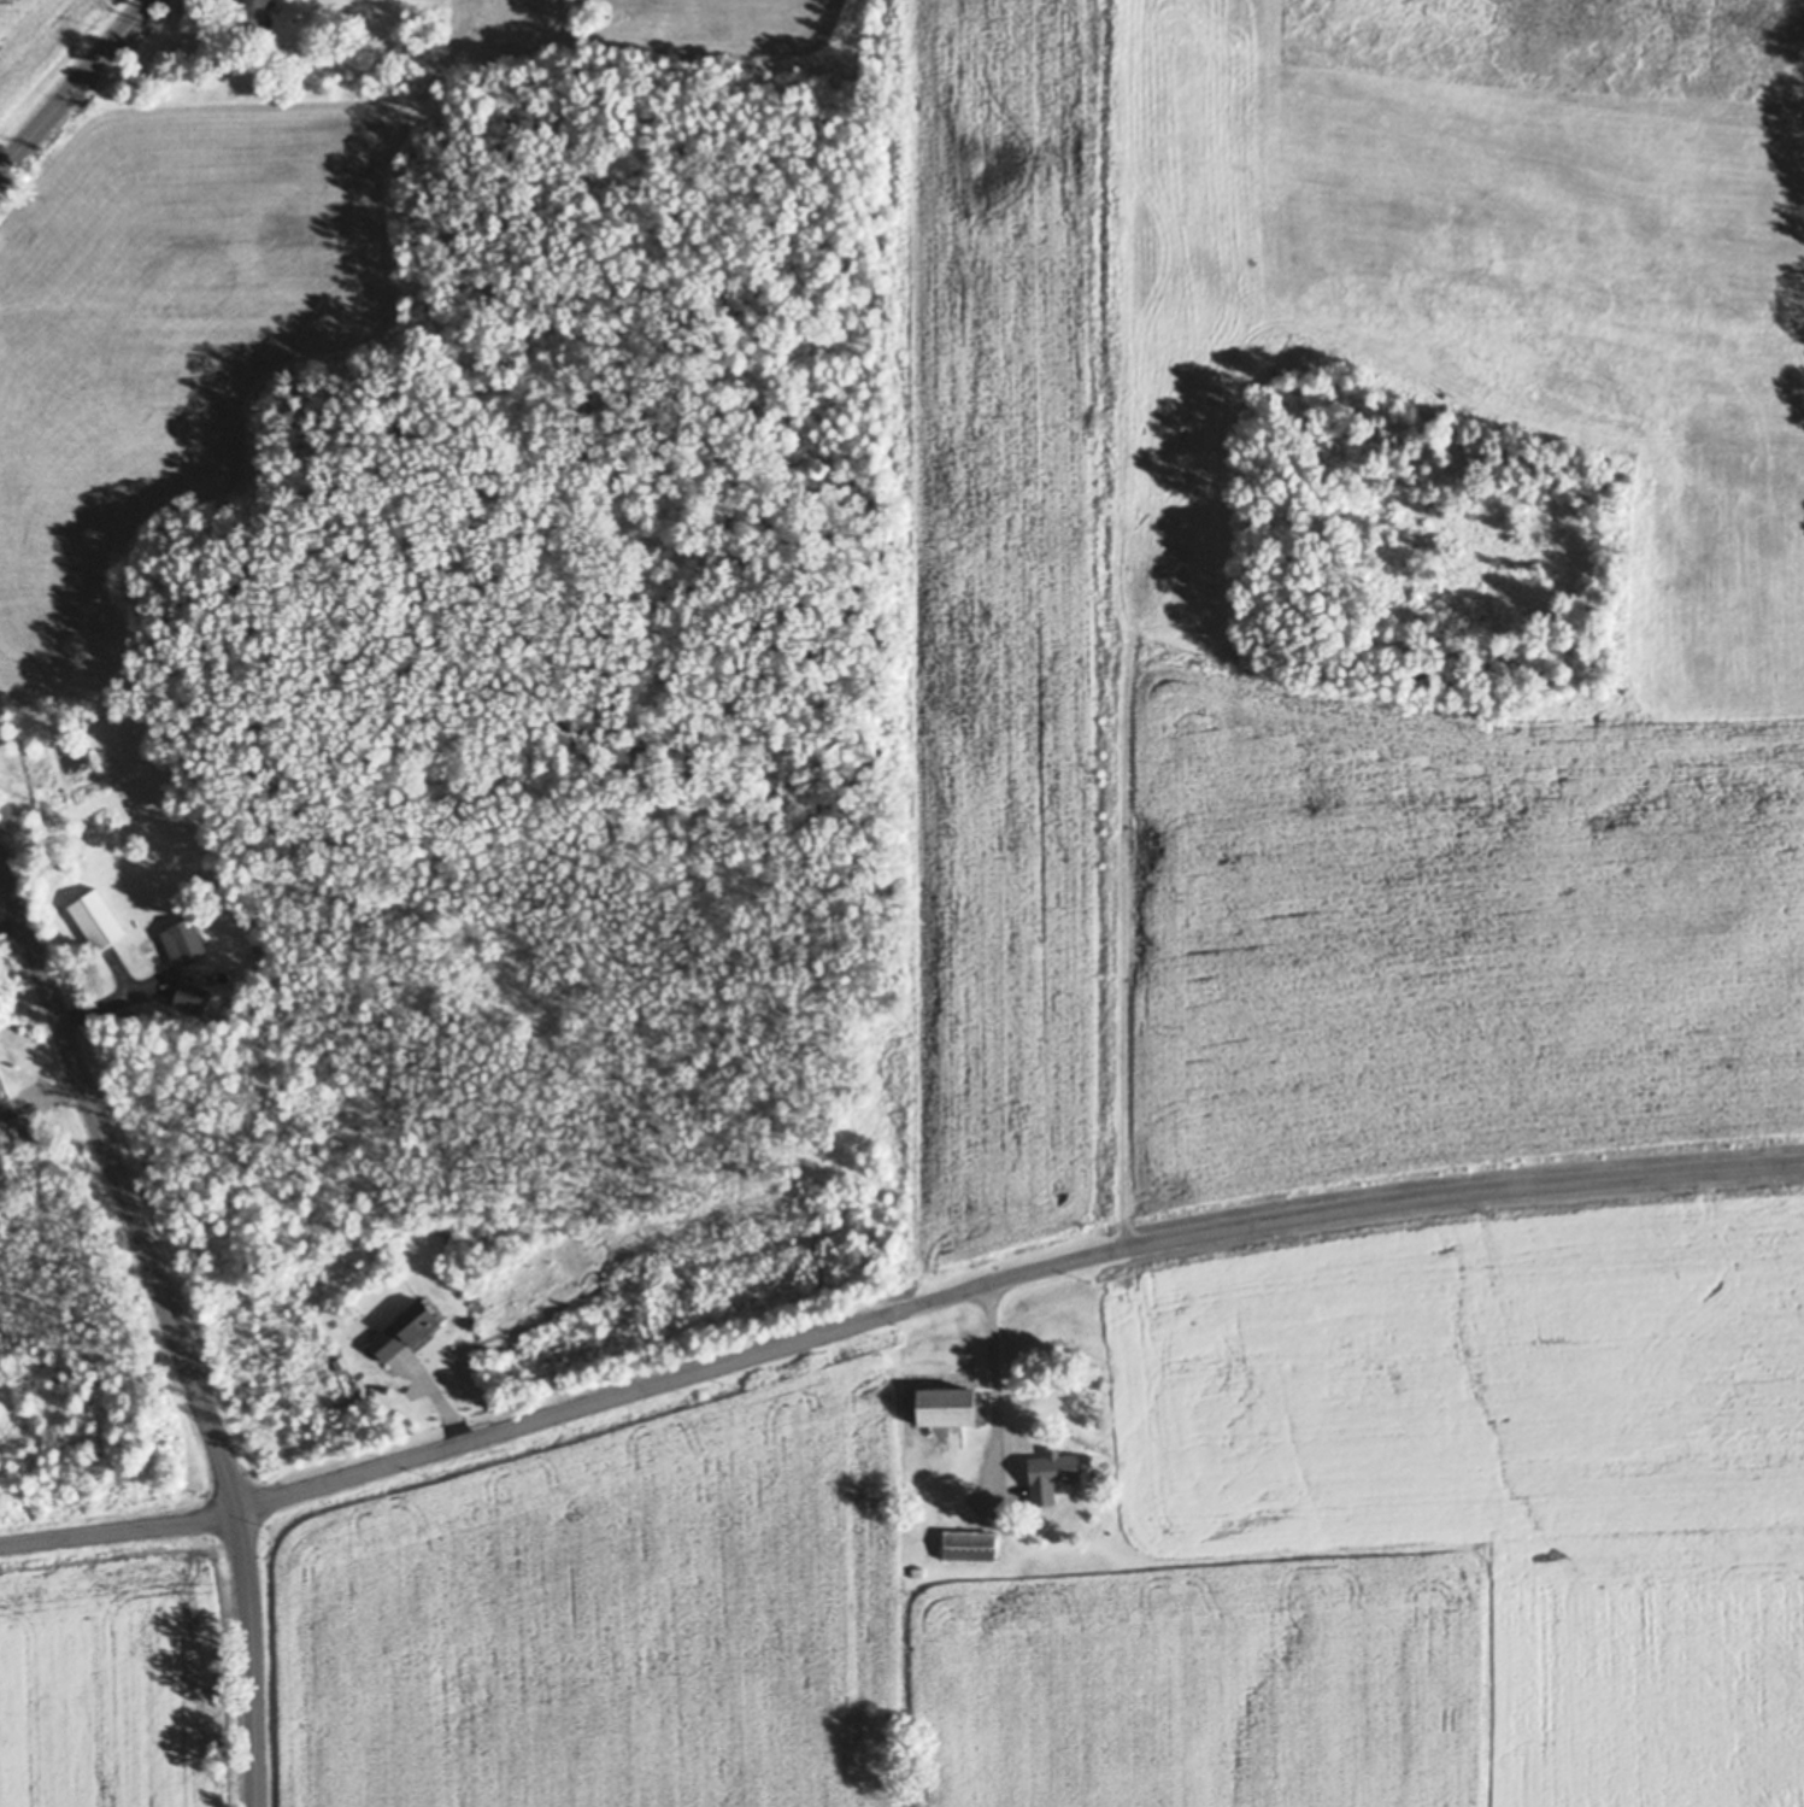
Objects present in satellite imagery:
building: (254, 14)
road: (78, 88)
building: (98, 920)
road: (11, 922)
building: (181, 940)
building: (192, 998)
road: (893, 1315)
road: (172, 1321)
building: (405, 1332)
building: (375, 1333)
building: (976, 1339)
road: (986, 1385)
building: (947, 1407)
building: (1065, 1490)
building: (971, 1545)

